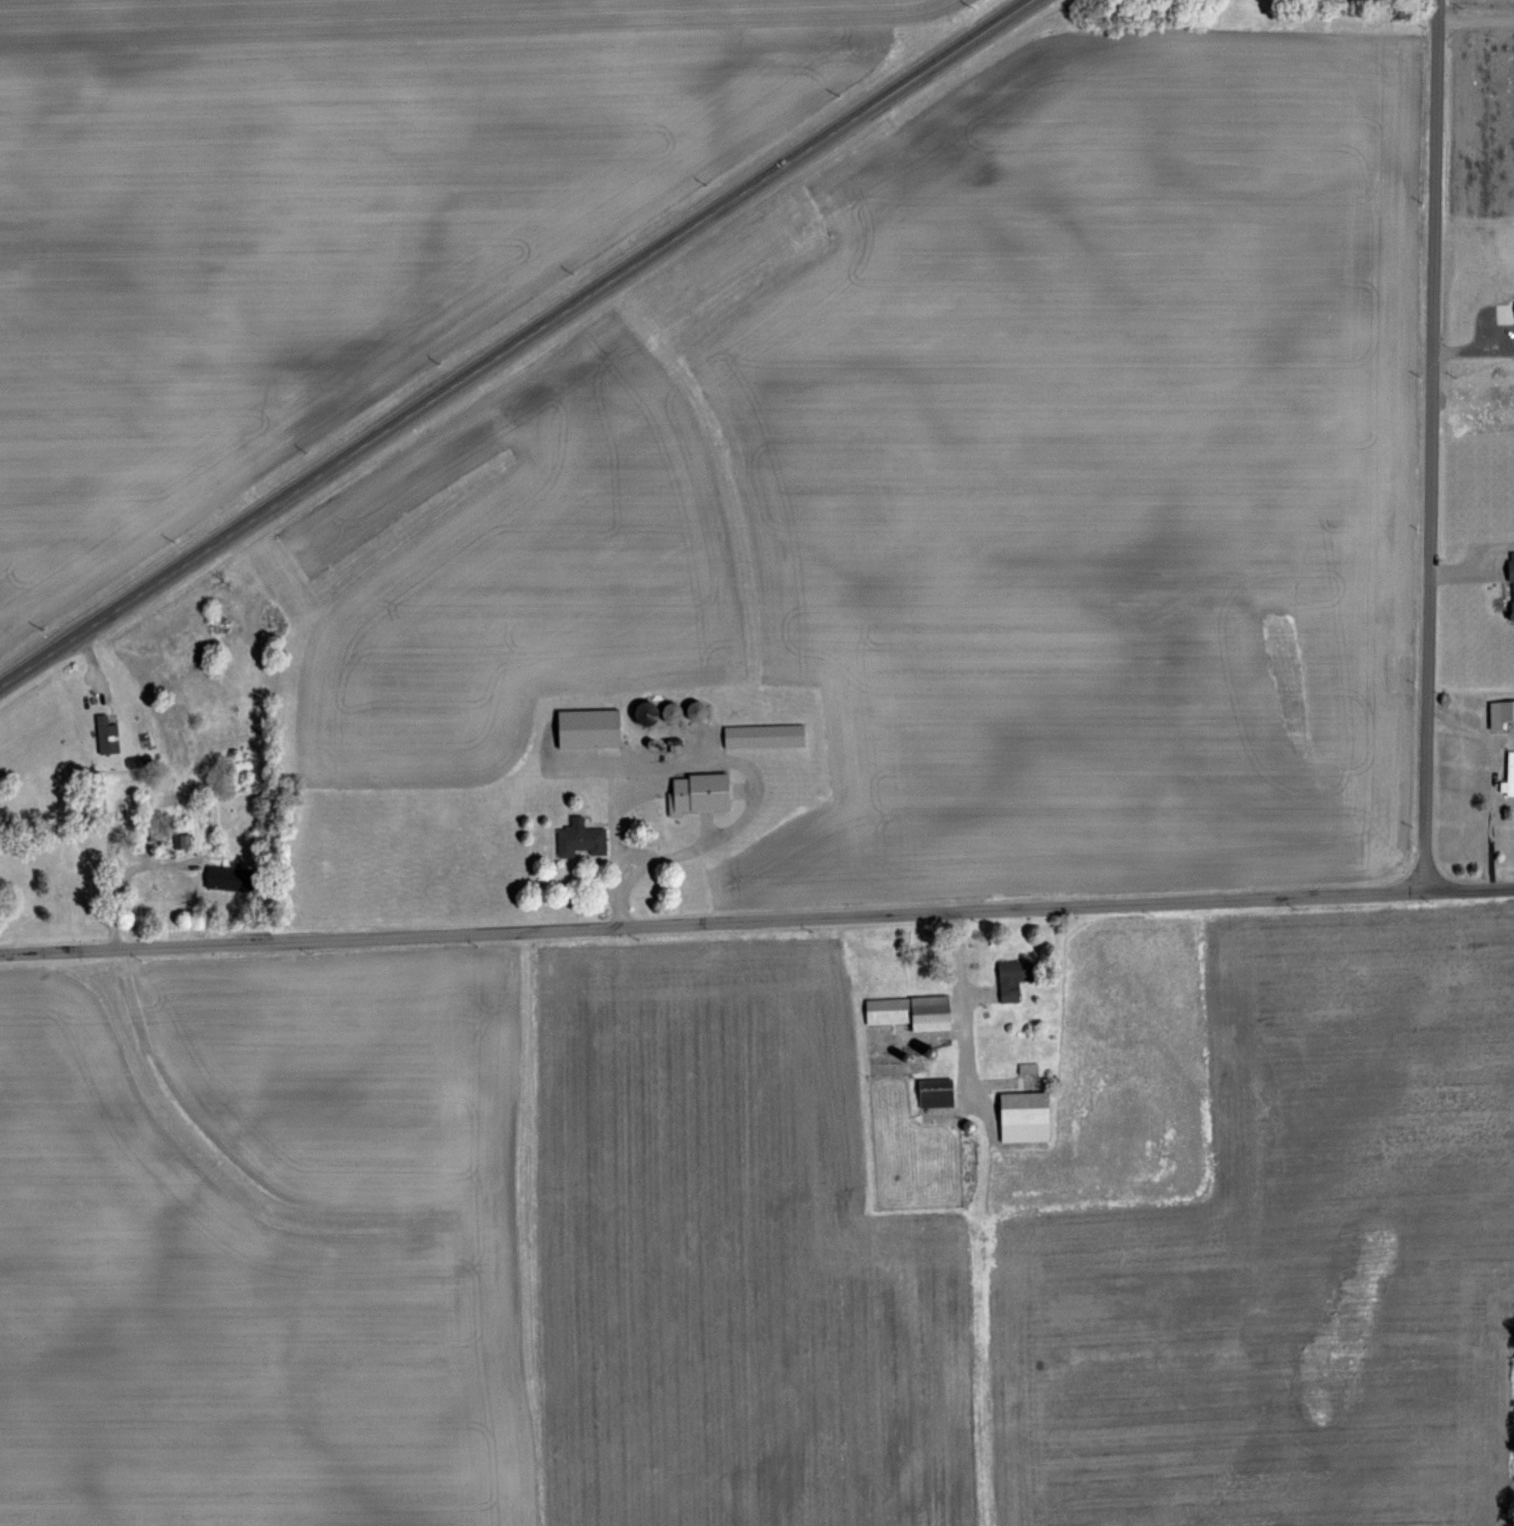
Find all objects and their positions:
road: (1476, 20)
crop: (345, 230)
building: (1504, 310)
crop: (1473, 343)
road: (518, 345)
road: (1474, 350)
road: (1434, 445)
road: (1471, 553)
building: (1509, 583)
building: (687, 709)
silo: (687, 709)
building: (663, 710)
silo: (663, 710)
building: (639, 712)
silo: (639, 712)
building: (653, 713)
building: (1497, 713)
building: (582, 727)
building: (759, 734)
road: (1479, 734)
building: (110, 736)
building: (138, 762)
building: (1505, 774)
building: (692, 791)
building: (576, 837)
building: (176, 840)
building: (185, 842)
building: (224, 875)
road: (124, 876)
crop: (807, 876)
road: (756, 919)
building: (1008, 977)
road: (961, 1000)
building: (906, 1011)
building: (1023, 1066)
building: (930, 1091)
building: (1017, 1115)
building: (960, 1123)

